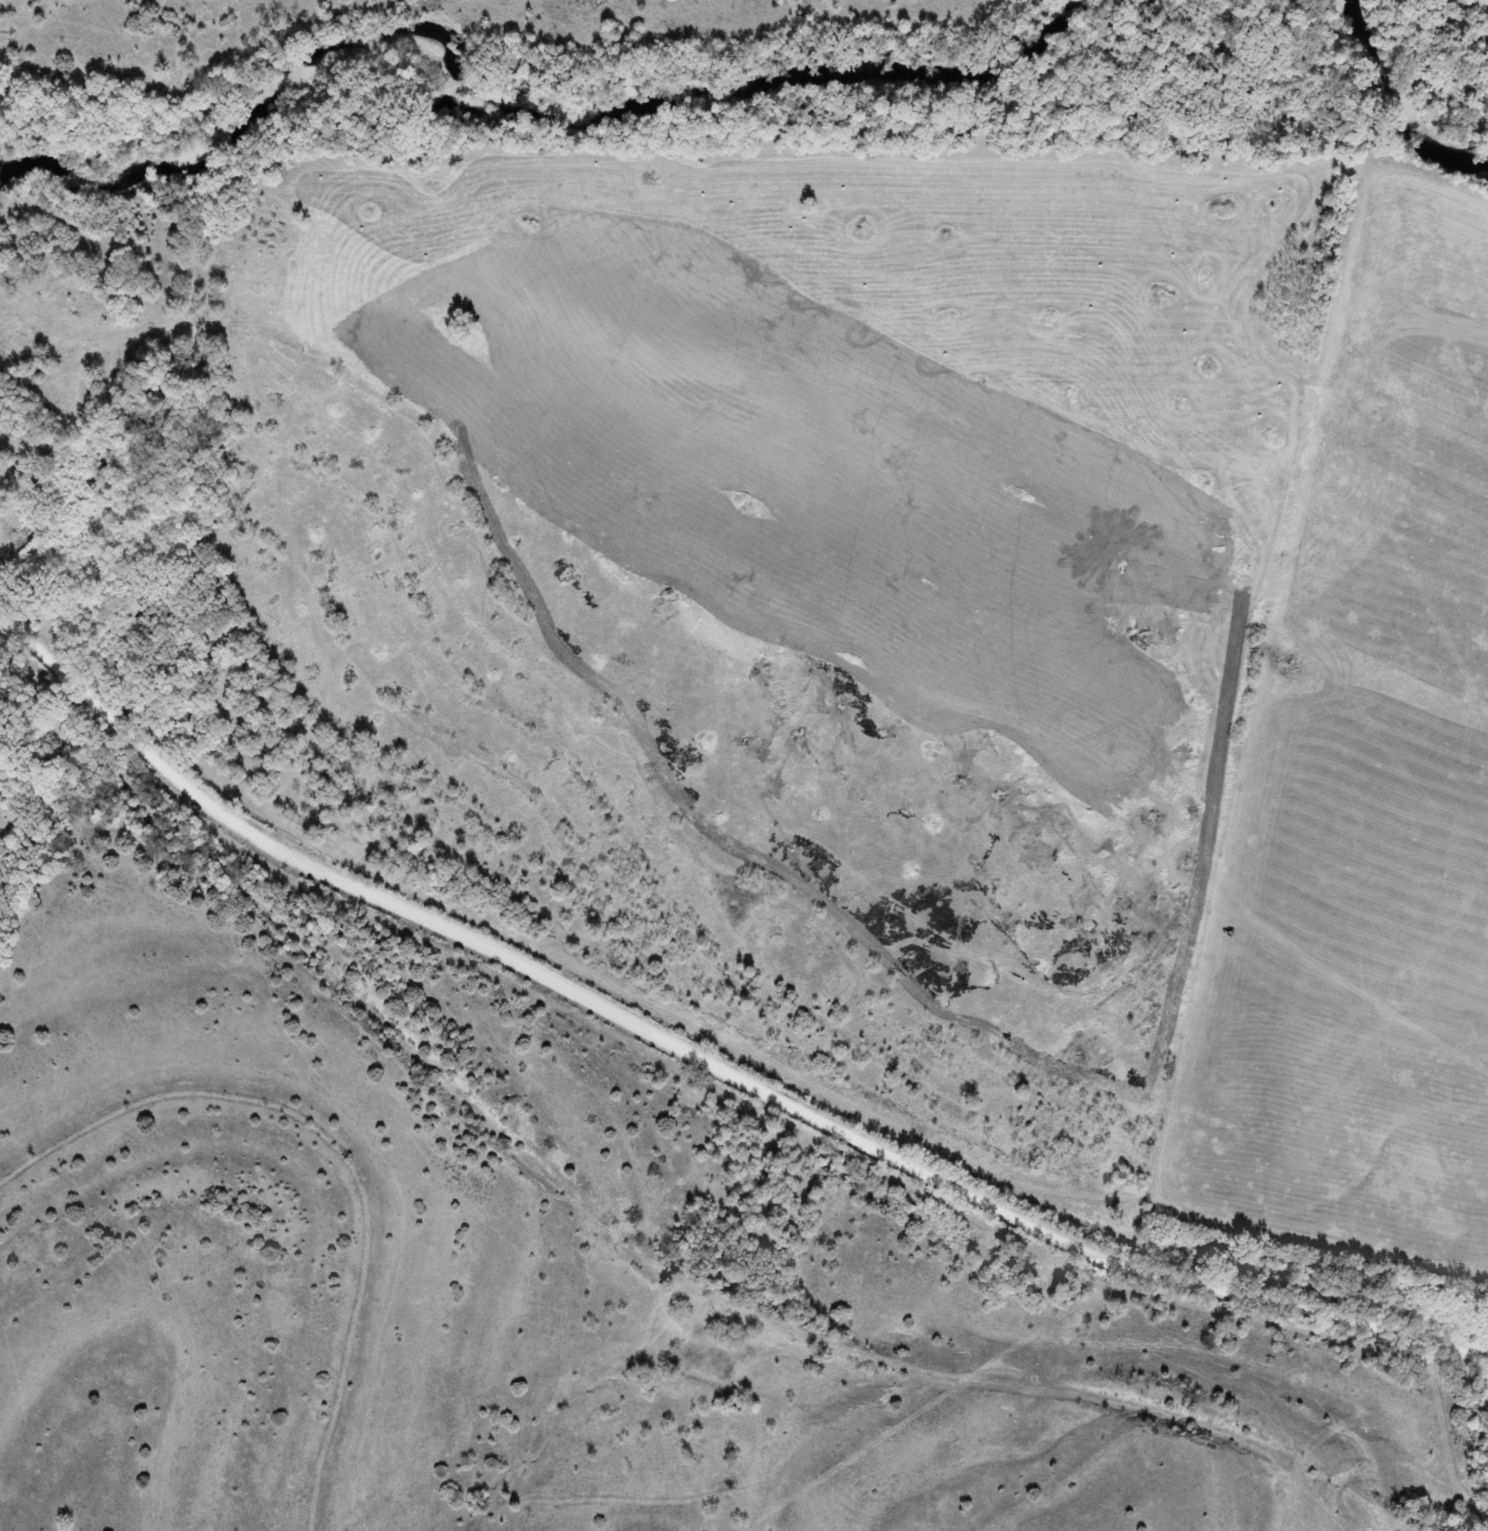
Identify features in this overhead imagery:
building: (17, 543)
road: (702, 1056)
railway: (620, 1236)

